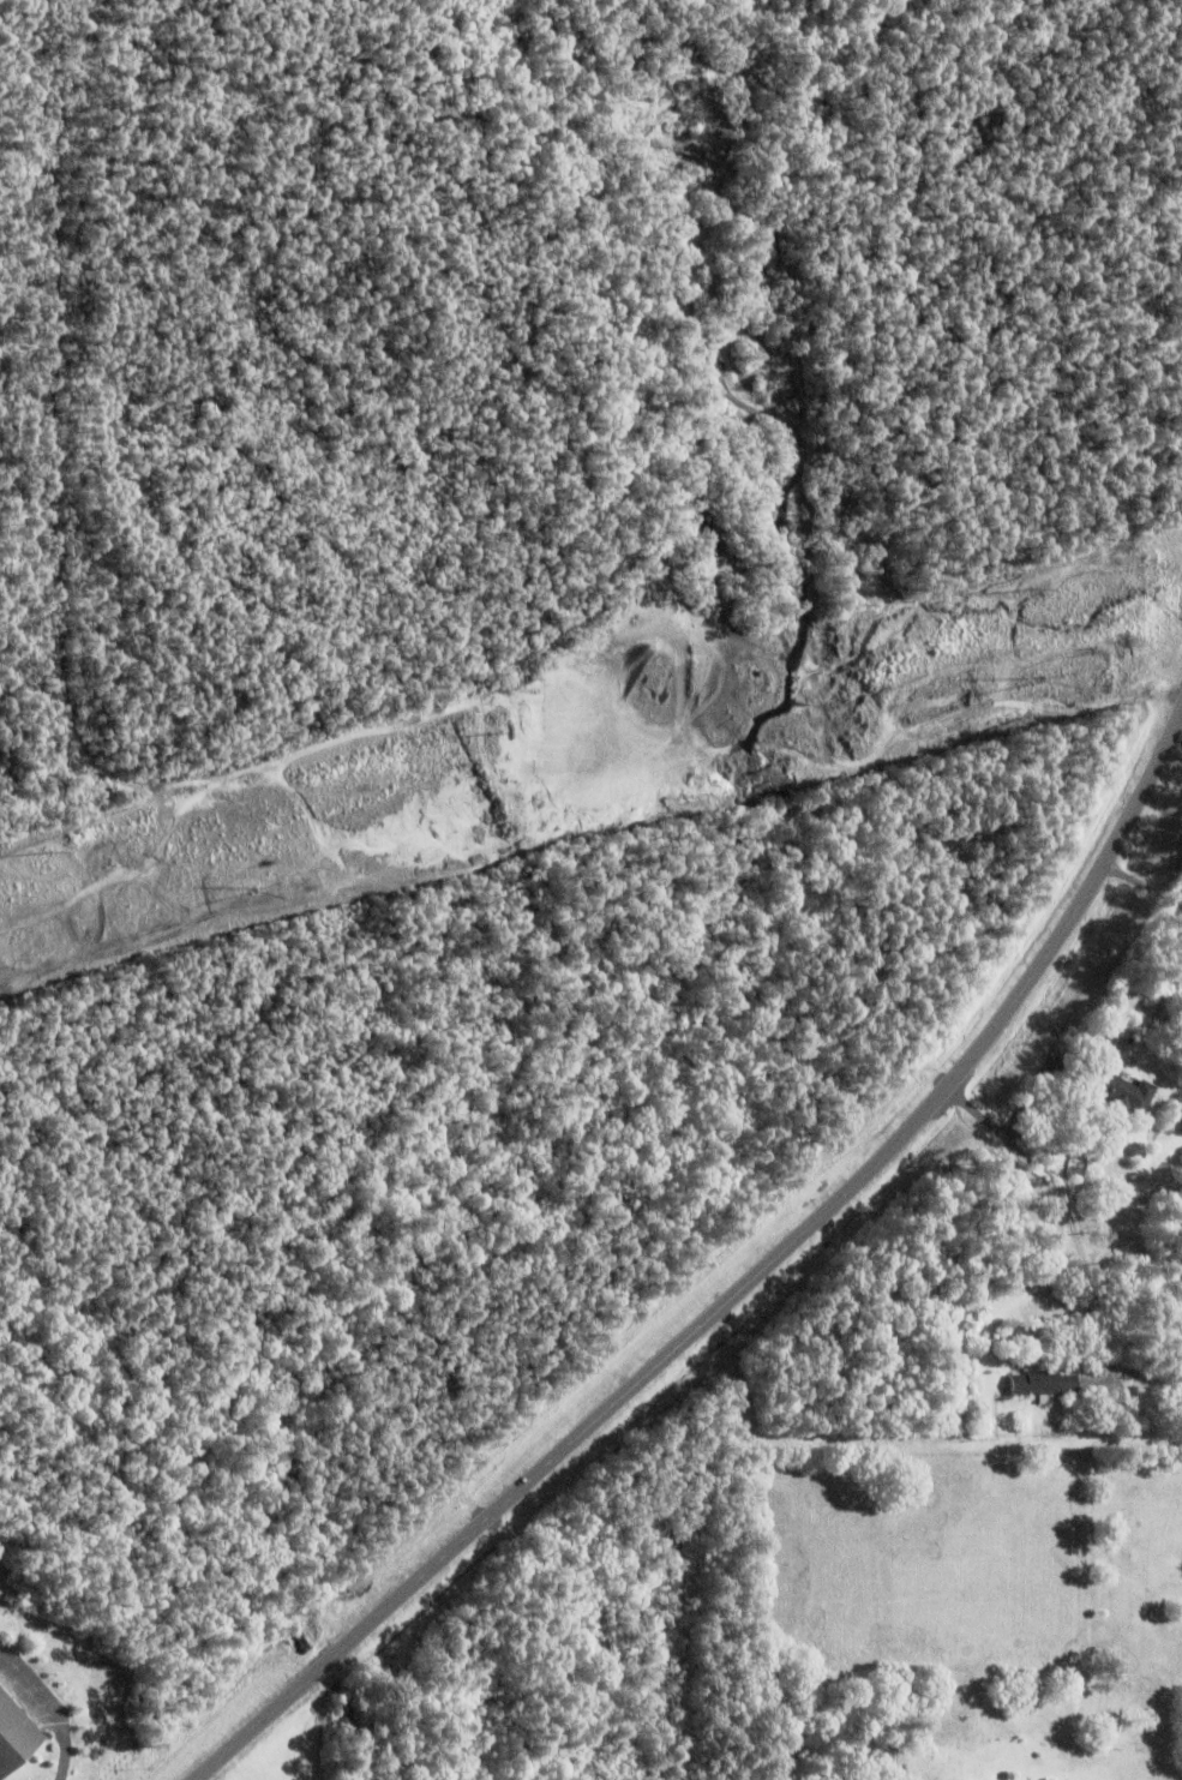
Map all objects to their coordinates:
power tower: (1051, 679)
power tower: (266, 891)
building: (1116, 1086)
road: (1066, 1207)
road: (736, 1291)
building: (1042, 1383)
road: (32, 1692)
building: (13, 1732)
road: (61, 1755)

